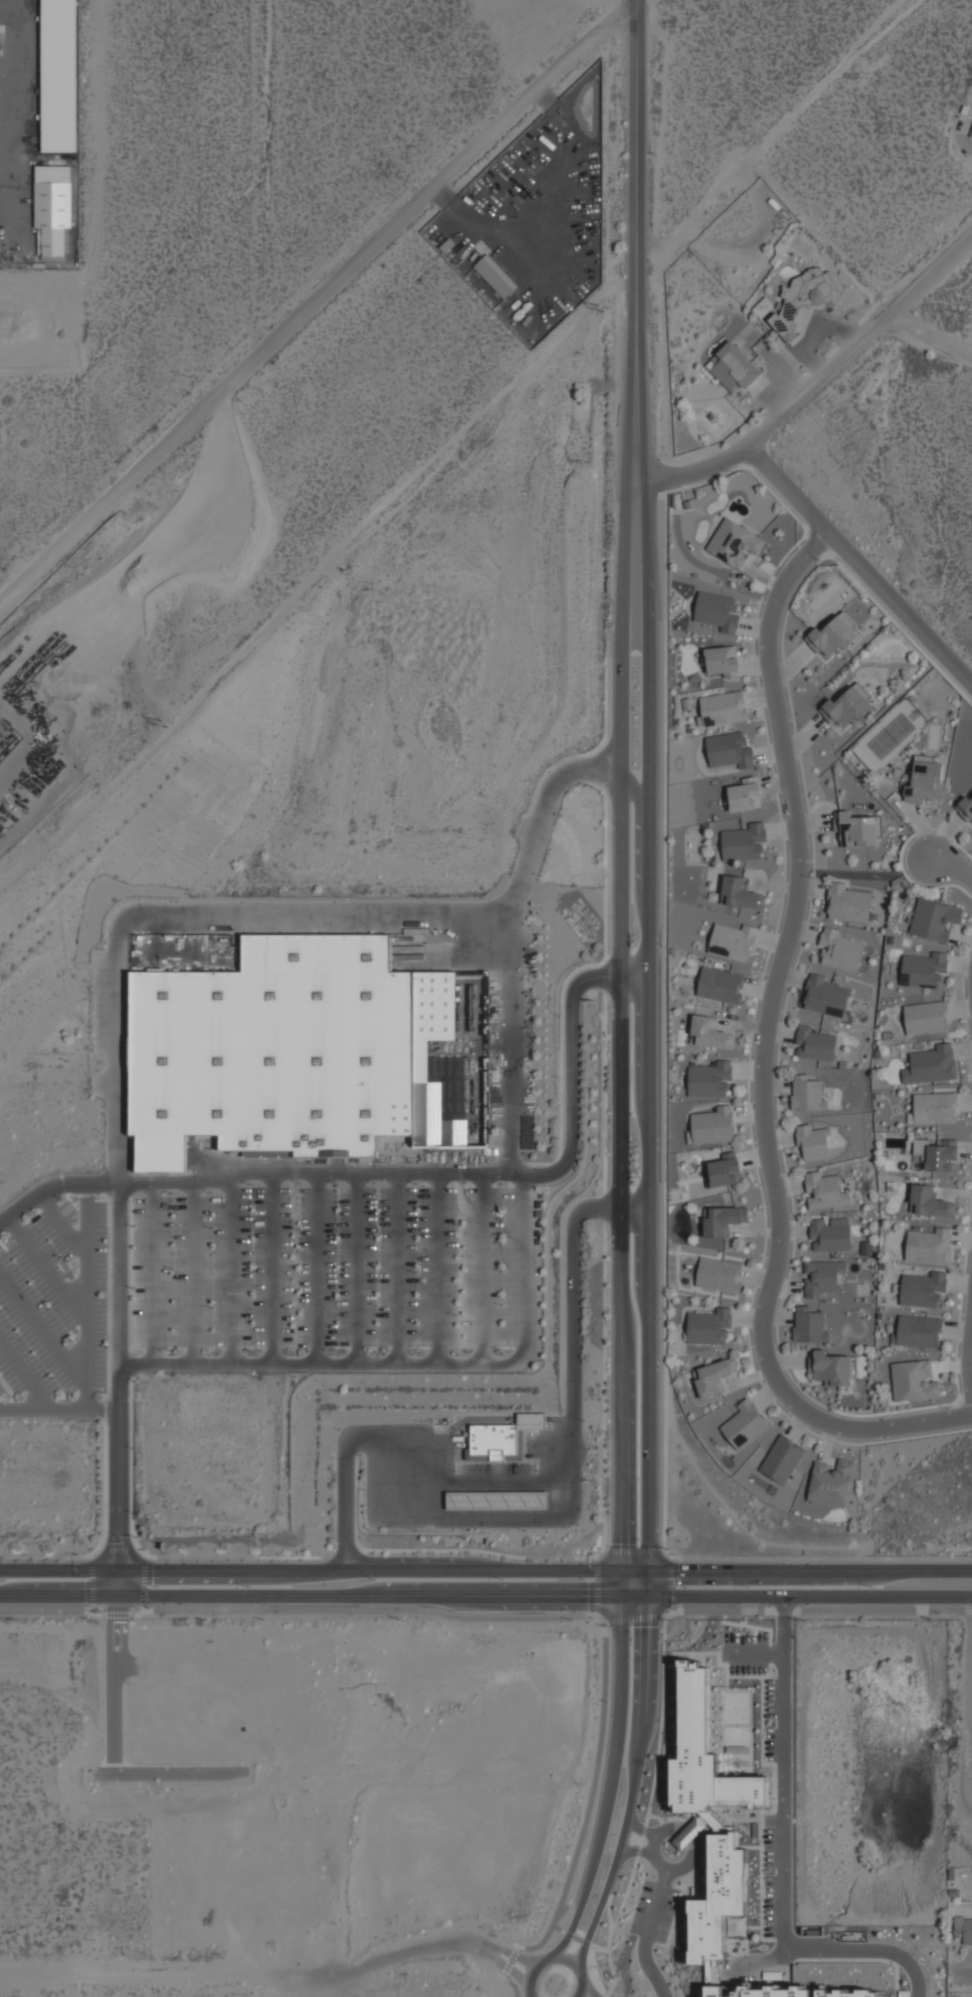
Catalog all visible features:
building: (971, 132)
road: (641, 200)
building: (53, 241)
building: (494, 276)
building: (806, 295)
road: (319, 299)
power tower: (600, 308)
road: (928, 336)
building: (734, 367)
road: (812, 384)
building: (735, 542)
road: (860, 567)
building: (717, 610)
building: (833, 636)
building: (722, 661)
building: (847, 706)
building: (724, 707)
power tower: (166, 725)
park: (889, 735)
building: (729, 749)
building: (926, 778)
road: (635, 789)
building: (743, 795)
road: (622, 805)
building: (965, 807)
building: (859, 828)
building: (744, 841)
road: (952, 867)
building: (741, 893)
building: (850, 903)
building: (935, 919)
building: (732, 940)
building: (840, 950)
building: (923, 969)
road: (634, 979)
building: (721, 984)
building: (825, 995)
building: (927, 1017)
building: (710, 1032)
building: (815, 1043)
building: (294, 1053)
road: (763, 1053)
road: (116, 1060)
building: (932, 1064)
road: (568, 1077)
building: (710, 1078)
building: (808, 1093)
building: (935, 1106)
building: (714, 1125)
building: (814, 1141)
road: (648, 1143)
building: (937, 1153)
building: (723, 1170)
building: (825, 1189)
building: (930, 1202)
road: (118, 1207)
road: (633, 1211)
building: (724, 1219)
road: (62, 1224)
building: (830, 1235)
building: (929, 1244)
road: (45, 1267)
road: (232, 1268)
road: (272, 1268)
road: (317, 1268)
road: (356, 1268)
road: (397, 1268)
road: (437, 1268)
road: (482, 1268)
road: (151, 1272)
road: (191, 1272)
building: (720, 1274)
building: (823, 1276)
building: (923, 1289)
road: (85, 1296)
building: (811, 1325)
building: (708, 1327)
building: (919, 1331)
road: (42, 1332)
road: (520, 1335)
road: (967, 1356)
building: (833, 1367)
building: (715, 1376)
road: (25, 1377)
building: (914, 1380)
road: (618, 1389)
road: (58, 1410)
building: (745, 1425)
building: (502, 1438)
building: (783, 1459)
road: (500, 1480)
building: (831, 1483)
building: (498, 1499)
road: (534, 1519)
road: (630, 1551)
road: (298, 1557)
road: (821, 1558)
road: (485, 1568)
traffic signals: (116, 1569)
traffic signals: (618, 1569)
traffic signals: (649, 1569)
road: (91, 1583)
road: (115, 1583)
road: (143, 1583)
traffic signals: (115, 1598)
road: (486, 1599)
traffic signals: (618, 1600)
traffic signals: (648, 1601)
road: (618, 1605)
road: (486, 1616)
road: (969, 1710)
road: (659, 1719)
road: (610, 1766)
building: (712, 1787)
road: (587, 1799)
road: (639, 1829)
road: (657, 1832)
building: (688, 1833)
road: (686, 1835)
road: (639, 1840)
road: (634, 1850)
road: (781, 1855)
road: (677, 1867)
road: (623, 1894)
road: (566, 1903)
road: (606, 1905)
road: (569, 1928)
road: (589, 1928)
building: (964, 1929)
road: (646, 1933)
building: (708, 1937)
road: (577, 1939)
road: (507, 1960)
road: (554, 1961)
road: (607, 1963)
road: (961, 1978)
road: (510, 1984)
road: (586, 1989)
road: (530, 1996)
road: (603, 1996)

